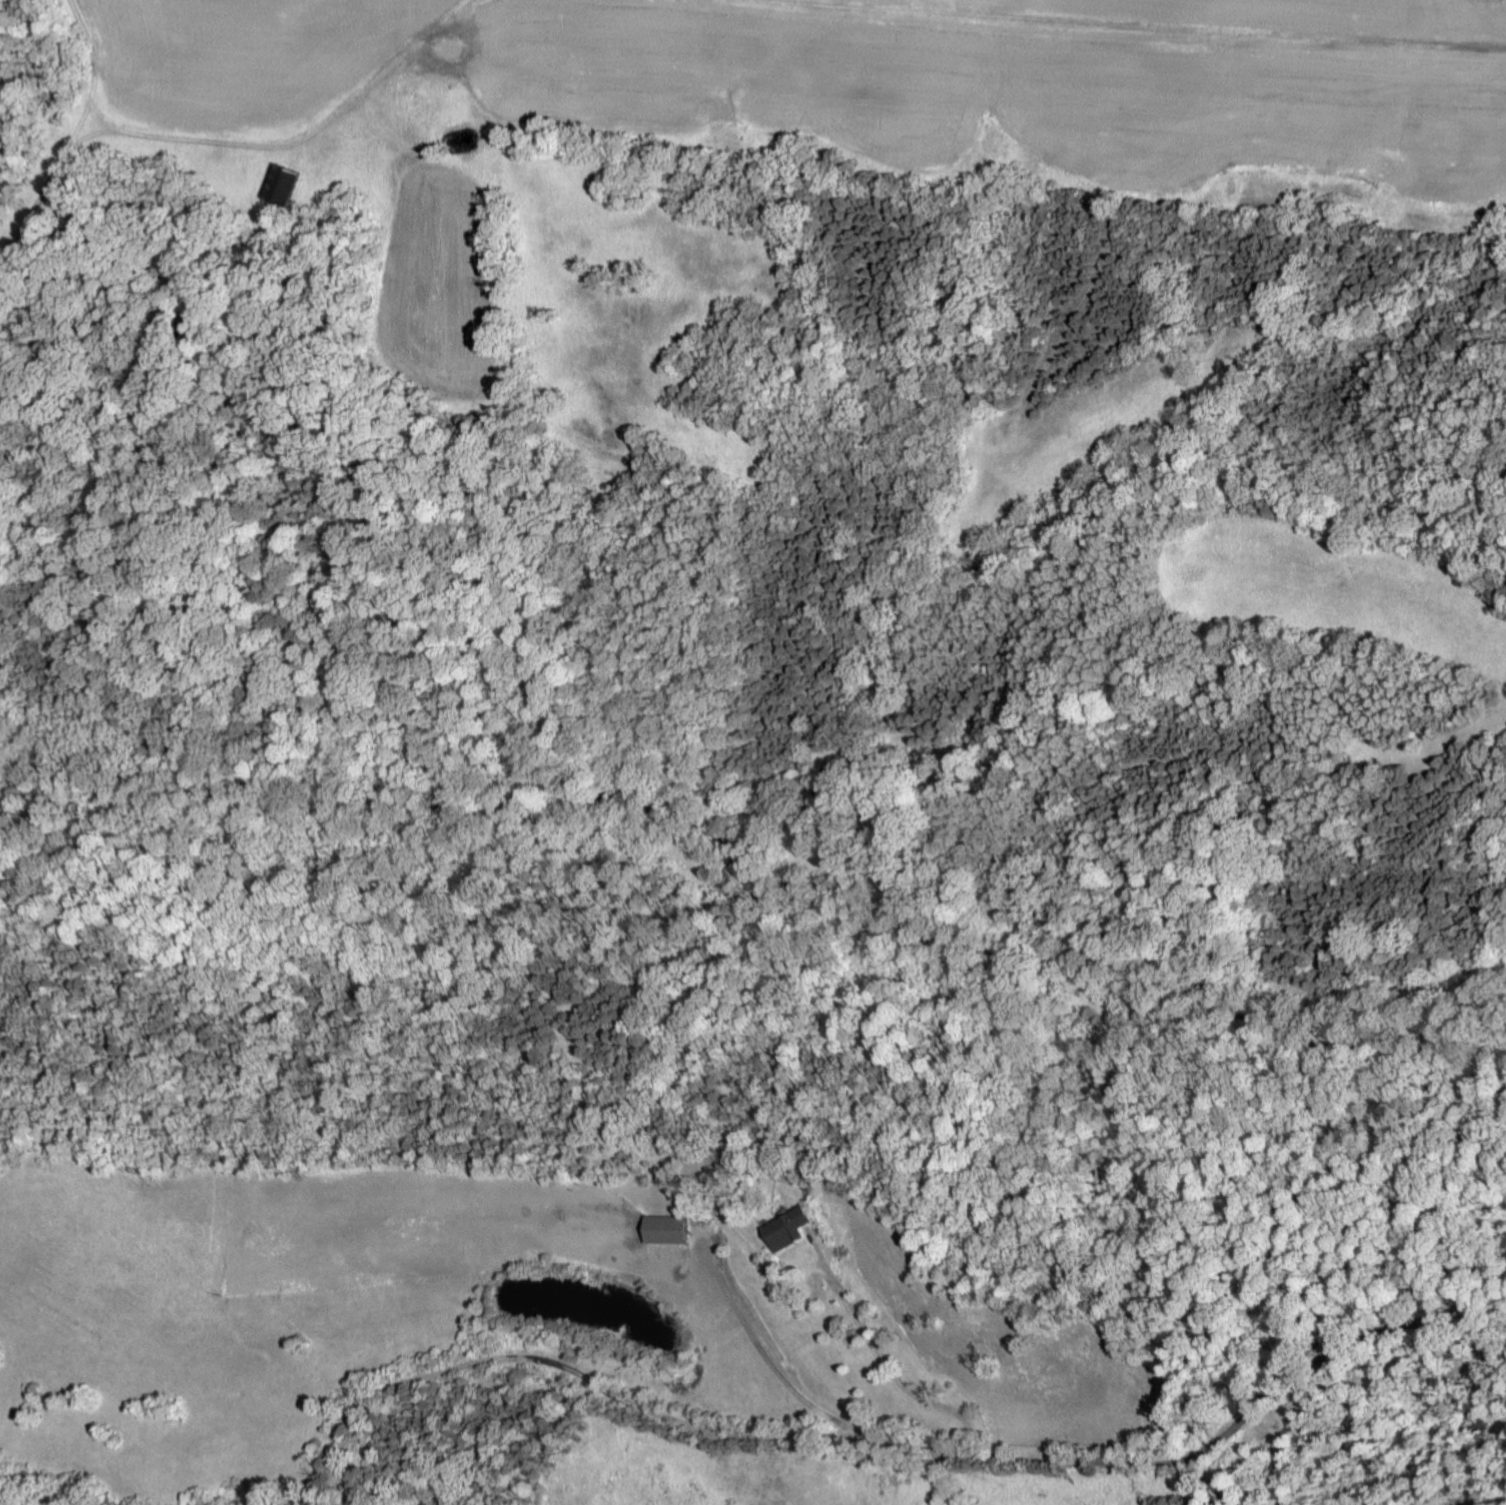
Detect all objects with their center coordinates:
building: (278, 187)
building: (784, 1229)
building: (663, 1230)
road: (1232, 1432)

